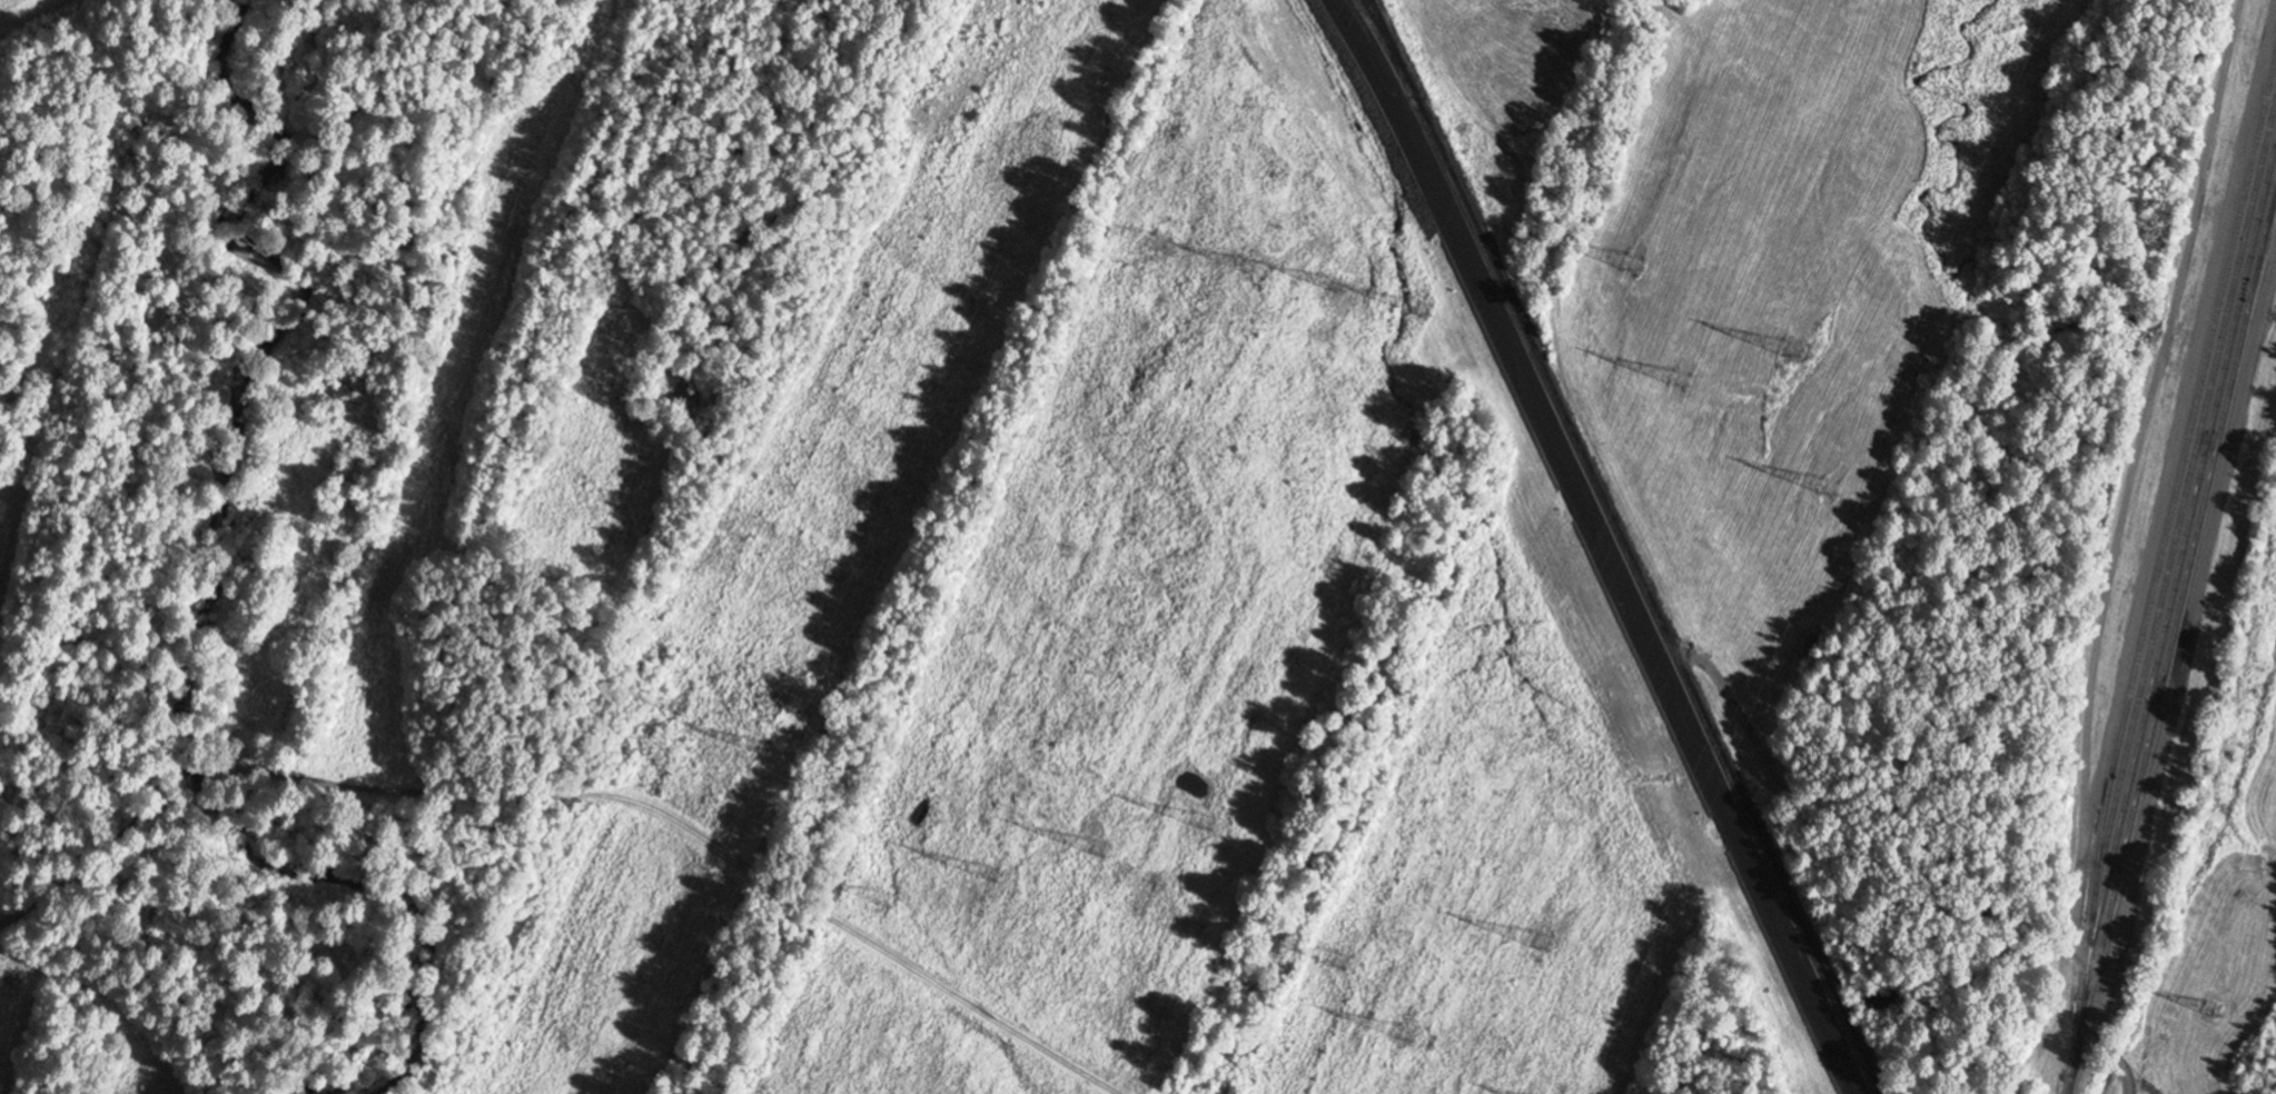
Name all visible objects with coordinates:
railway: (1367, 10)
railway: (1387, 47)
railway: (2270, 213)
railway: (2270, 222)
power tower: (1160, 243)
power tower: (1244, 266)
power tower: (1632, 267)
power tower: (1418, 310)
power tower: (1336, 311)
power tower: (1785, 351)
power tower: (1680, 381)
power tower: (1831, 487)
railway: (2181, 508)
railway: (1623, 547)
railway: (2159, 558)
railway: (2178, 564)
railway: (2167, 655)
power tower: (674, 708)
power tower: (754, 745)
road: (561, 786)
power tower: (1204, 822)
power tower: (1097, 873)
power tower: (989, 874)
power tower: (880, 899)
power tower: (1538, 943)
power tower: (1337, 961)
power tower: (2210, 1008)
power tower: (1403, 1034)
railway: (2070, 1083)

